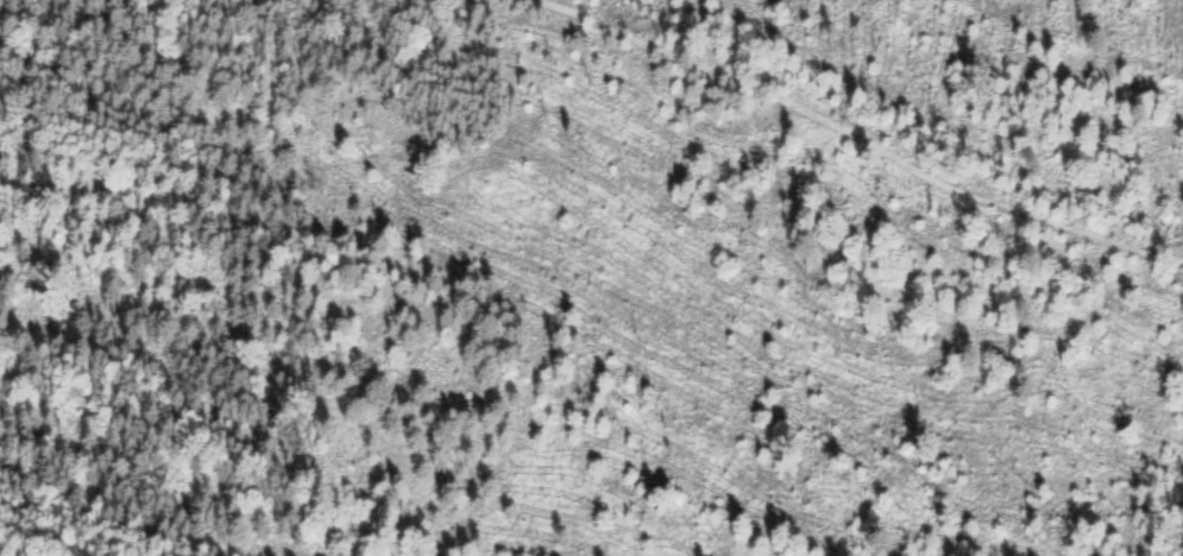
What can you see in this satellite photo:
road: (48, 19)
road: (817, 126)

